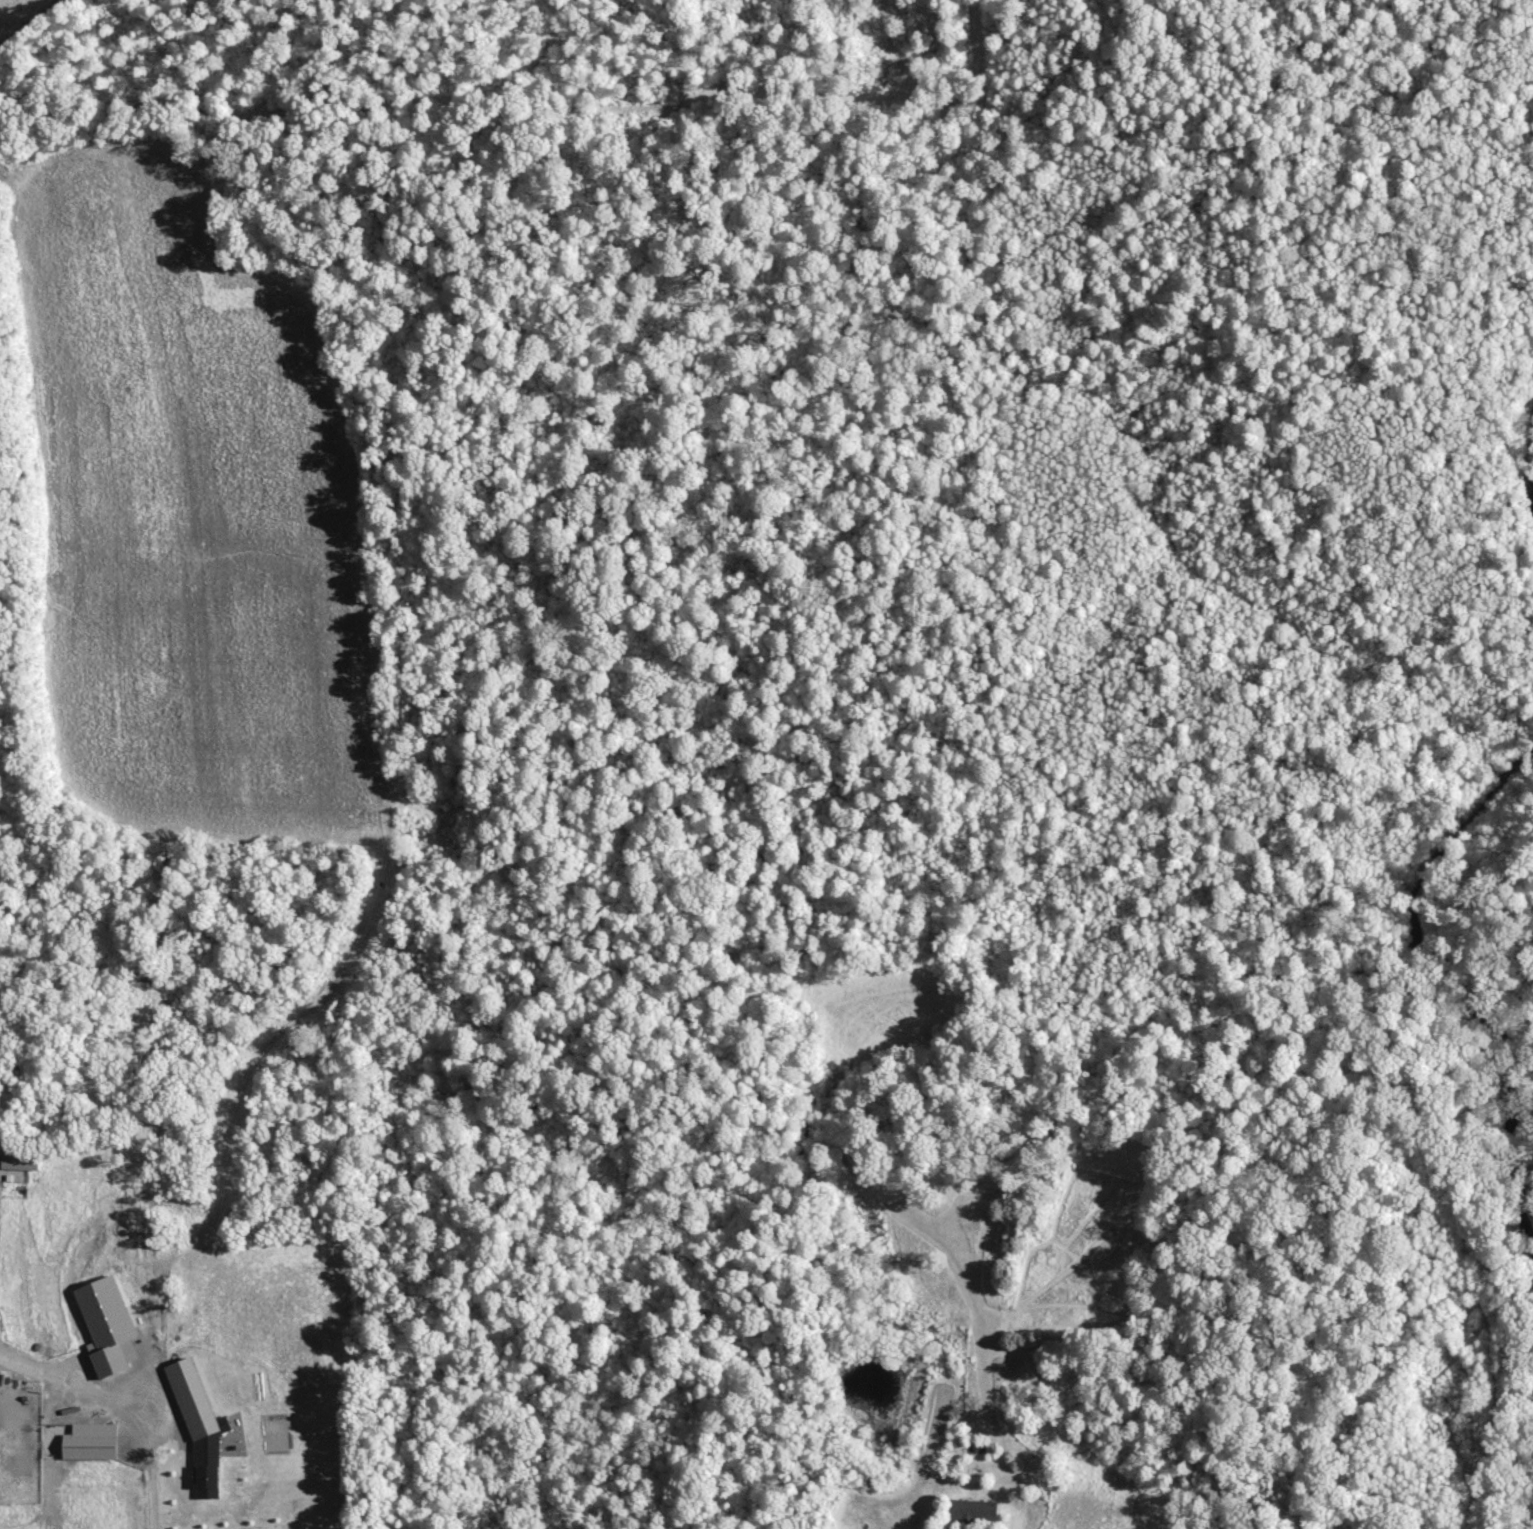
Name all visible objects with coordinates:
building: (18, 1159)
building: (105, 1326)
building: (196, 1425)
building: (88, 1447)
road: (150, 1461)
building: (970, 1509)

